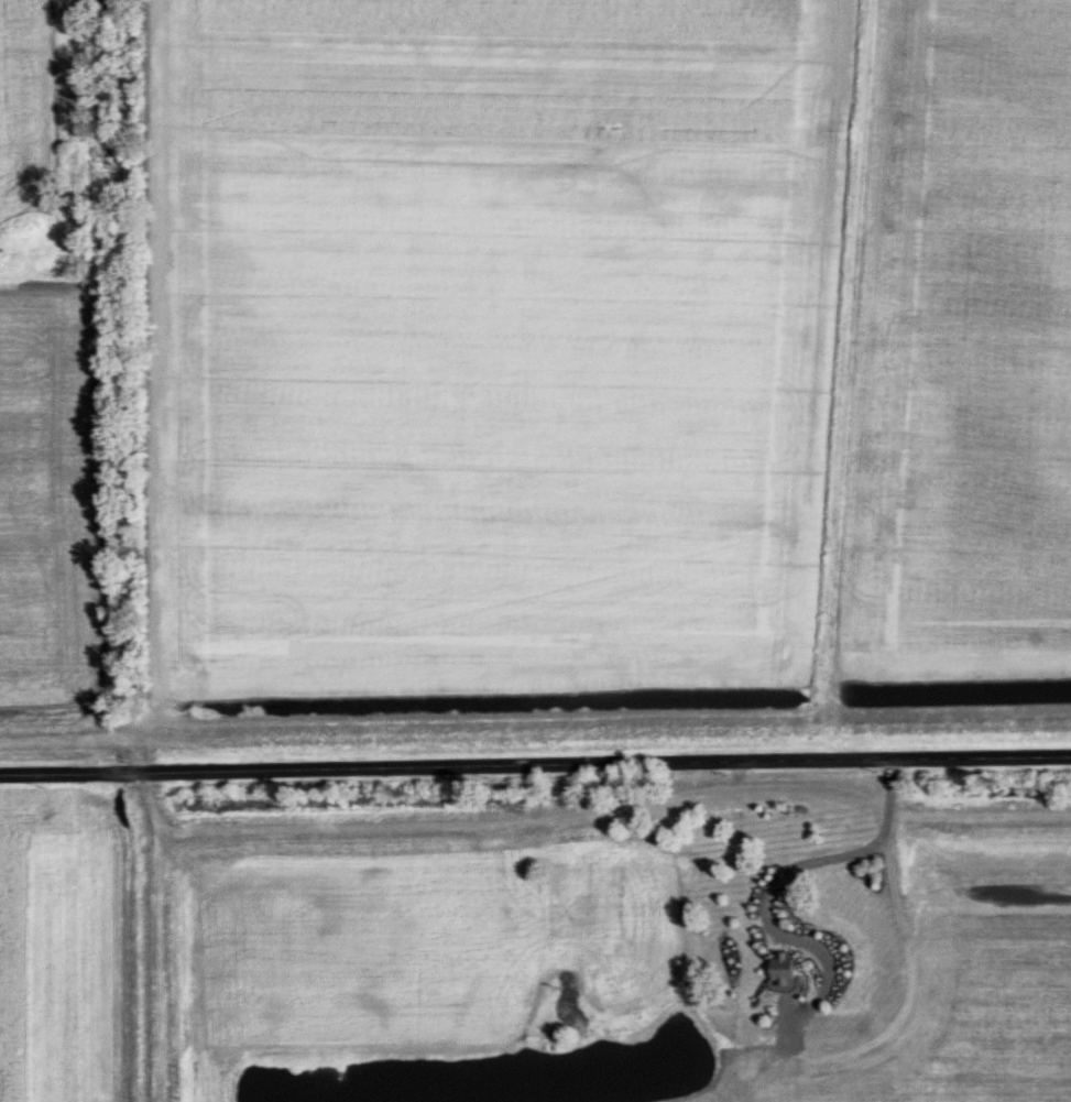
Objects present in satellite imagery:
road: (535, 763)
road: (778, 879)

